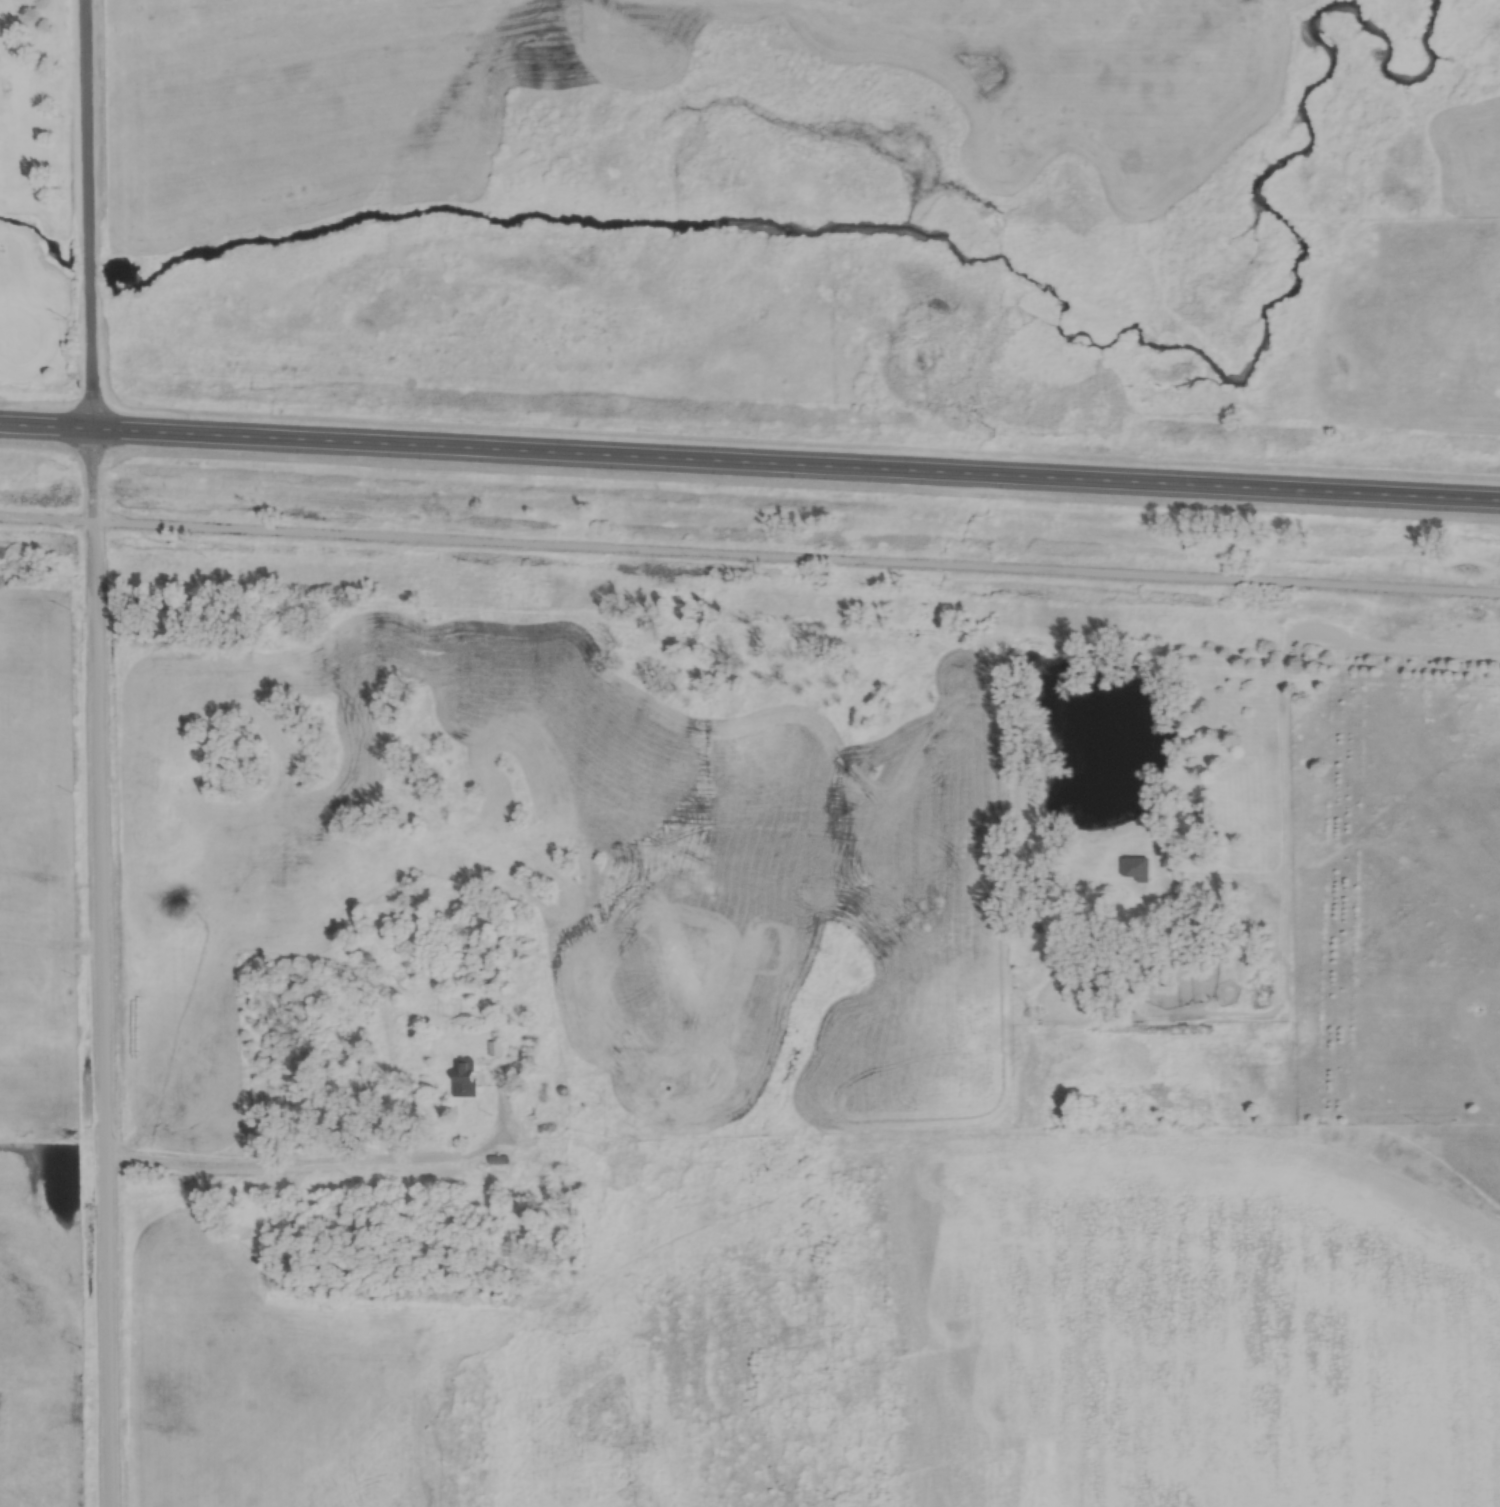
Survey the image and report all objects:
park: (55, 201)
road: (750, 466)
road: (750, 553)
road: (100, 753)
building: (1140, 868)
building: (467, 1077)
building: (501, 1160)

